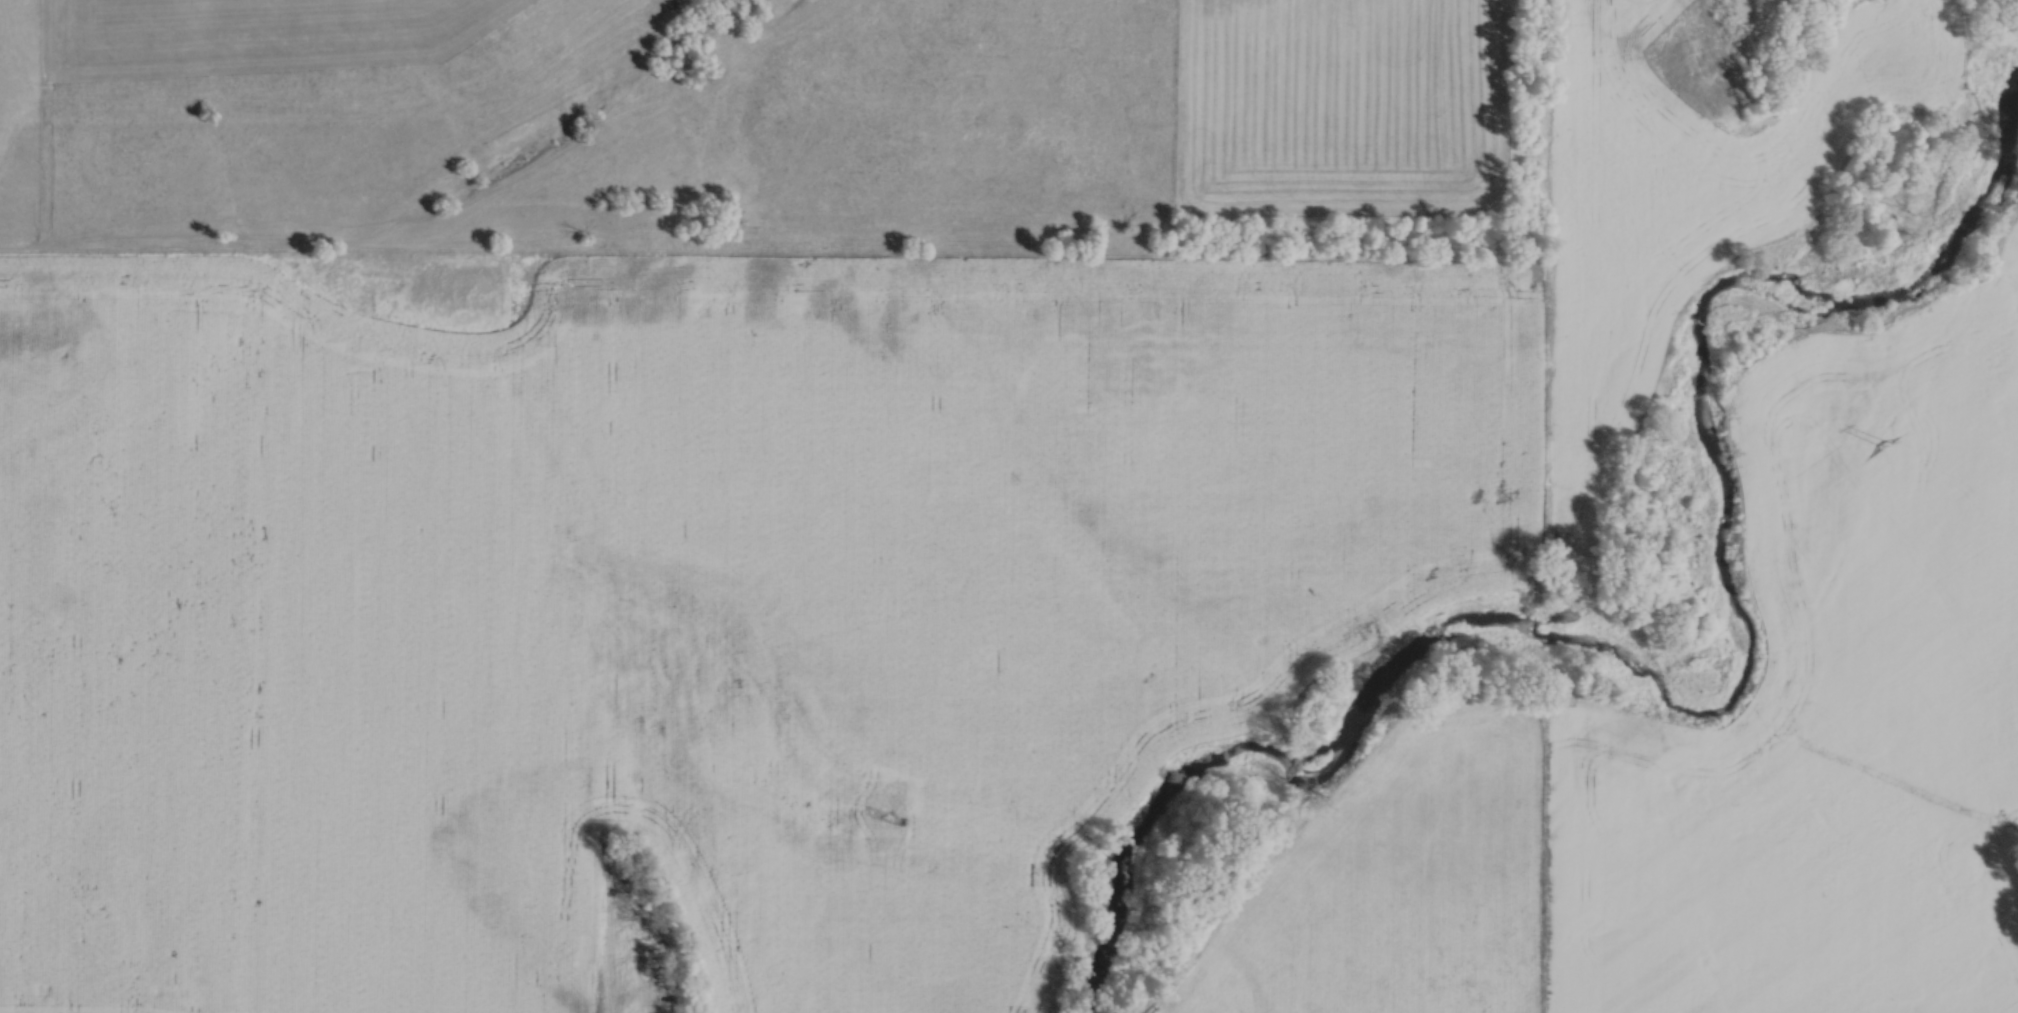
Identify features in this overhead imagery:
power tower: (1884, 442)

